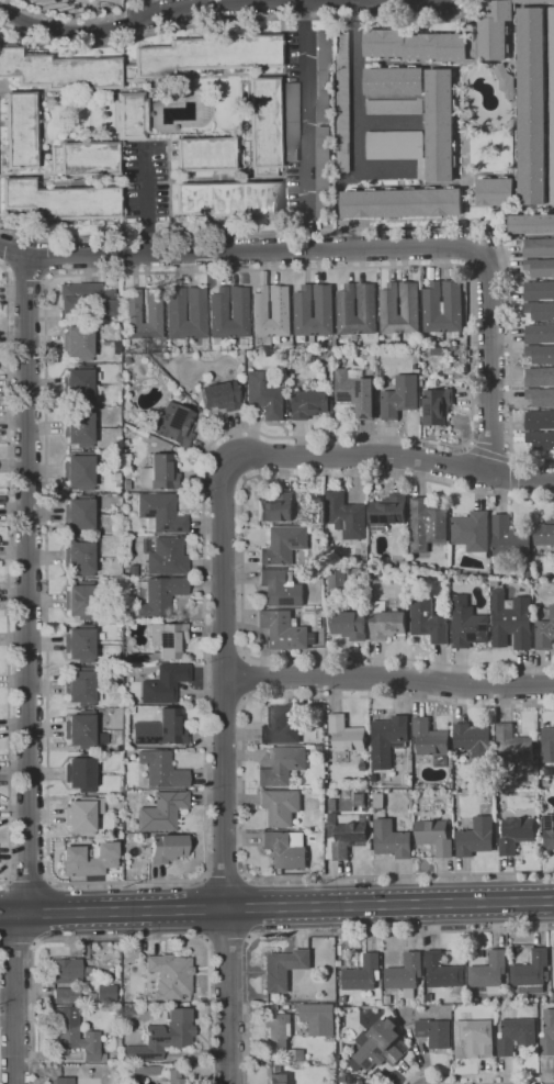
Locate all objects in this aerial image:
road: (212, 5)
road: (147, 8)
road: (239, 21)
building: (450, 38)
building: (139, 62)
building: (321, 77)
building: (394, 80)
building: (505, 81)
road: (355, 86)
building: (343, 102)
building: (551, 102)
building: (394, 107)
building: (531, 107)
building: (129, 116)
building: (291, 123)
road: (305, 124)
building: (262, 125)
building: (440, 125)
building: (20, 130)
building: (394, 145)
building: (204, 155)
building: (83, 158)
building: (324, 172)
building: (496, 191)
building: (226, 199)
building: (59, 201)
building: (402, 202)
road: (146, 206)
building: (531, 224)
road: (381, 227)
building: (539, 247)
road: (352, 248)
road: (56, 255)
building: (540, 267)
road: (465, 272)
road: (26, 277)
building: (539, 291)
building: (86, 299)
road: (5, 303)
building: (388, 304)
building: (368, 306)
building: (443, 308)
building: (325, 309)
building: (238, 310)
building: (261, 310)
building: (540, 311)
building: (174, 312)
building: (132, 314)
building: (77, 343)
building: (553, 344)
building: (116, 348)
building: (438, 351)
building: (416, 366)
building: (461, 376)
building: (539, 377)
building: (78, 383)
building: (355, 392)
building: (221, 395)
building: (264, 395)
building: (400, 396)
building: (540, 396)
building: (309, 403)
building: (378, 403)
building: (437, 405)
building: (539, 420)
building: (174, 425)
building: (79, 427)
building: (541, 439)
road: (466, 445)
road: (490, 454)
road: (386, 456)
road: (513, 458)
building: (78, 471)
building: (159, 473)
road: (512, 476)
building: (126, 484)
road: (515, 494)
building: (2, 499)
building: (318, 500)
building: (275, 507)
building: (388, 512)
building: (78, 513)
building: (160, 513)
building: (346, 515)
building: (427, 525)
building: (472, 533)
building: (545, 533)
building: (509, 543)
building: (284, 545)
building: (163, 556)
building: (79, 557)
building: (541, 557)
road: (241, 568)
building: (133, 570)
building: (455, 572)
building: (528, 575)
building: (549, 577)
building: (340, 580)
building: (495, 583)
building: (280, 588)
building: (160, 595)
building: (80, 600)
road: (7, 614)
building: (169, 621)
building: (180, 621)
building: (511, 621)
building: (386, 622)
building: (429, 622)
building: (467, 624)
building: (349, 625)
building: (285, 630)
building: (545, 632)
building: (79, 642)
building: (163, 642)
road: (27, 671)
road: (242, 677)
road: (388, 677)
building: (163, 683)
building: (80, 686)
building: (280, 726)
building: (160, 728)
building: (80, 729)
building: (346, 734)
building: (430, 738)
building: (388, 740)
building: (474, 741)
building: (547, 744)
building: (512, 745)
building: (319, 749)
building: (283, 767)
building: (362, 767)
building: (161, 770)
building: (549, 771)
building: (81, 772)
road: (224, 776)
building: (100, 781)
road: (242, 786)
building: (315, 791)
building: (378, 798)
building: (280, 807)
building: (163, 811)
building: (81, 815)
building: (549, 831)
building: (346, 834)
building: (517, 834)
building: (436, 836)
building: (476, 837)
building: (392, 839)
building: (167, 848)
building: (286, 848)
building: (89, 859)
road: (224, 876)
road: (29, 879)
road: (248, 906)
road: (286, 907)
road: (204, 909)
road: (10, 914)
road: (403, 932)
road: (228, 937)
road: (123, 938)
road: (19, 945)
building: (478, 959)
building: (553, 960)
building: (284, 968)
building: (69, 970)
building: (404, 972)
building: (489, 972)
building: (531, 972)
building: (362, 973)
building: (442, 973)
building: (170, 975)
building: (105, 993)
building: (66, 995)
building: (553, 996)
building: (343, 999)
building: (387, 999)
building: (508, 1014)
building: (318, 1018)
building: (278, 1029)
building: (434, 1032)
building: (516, 1035)
building: (547, 1035)
building: (163, 1037)
building: (474, 1038)
building: (77, 1039)
building: (380, 1046)
building: (145, 1071)
road: (476, 1075)
building: (278, 1076)
building: (174, 1077)
building: (342, 1079)
building: (64, 1081)

